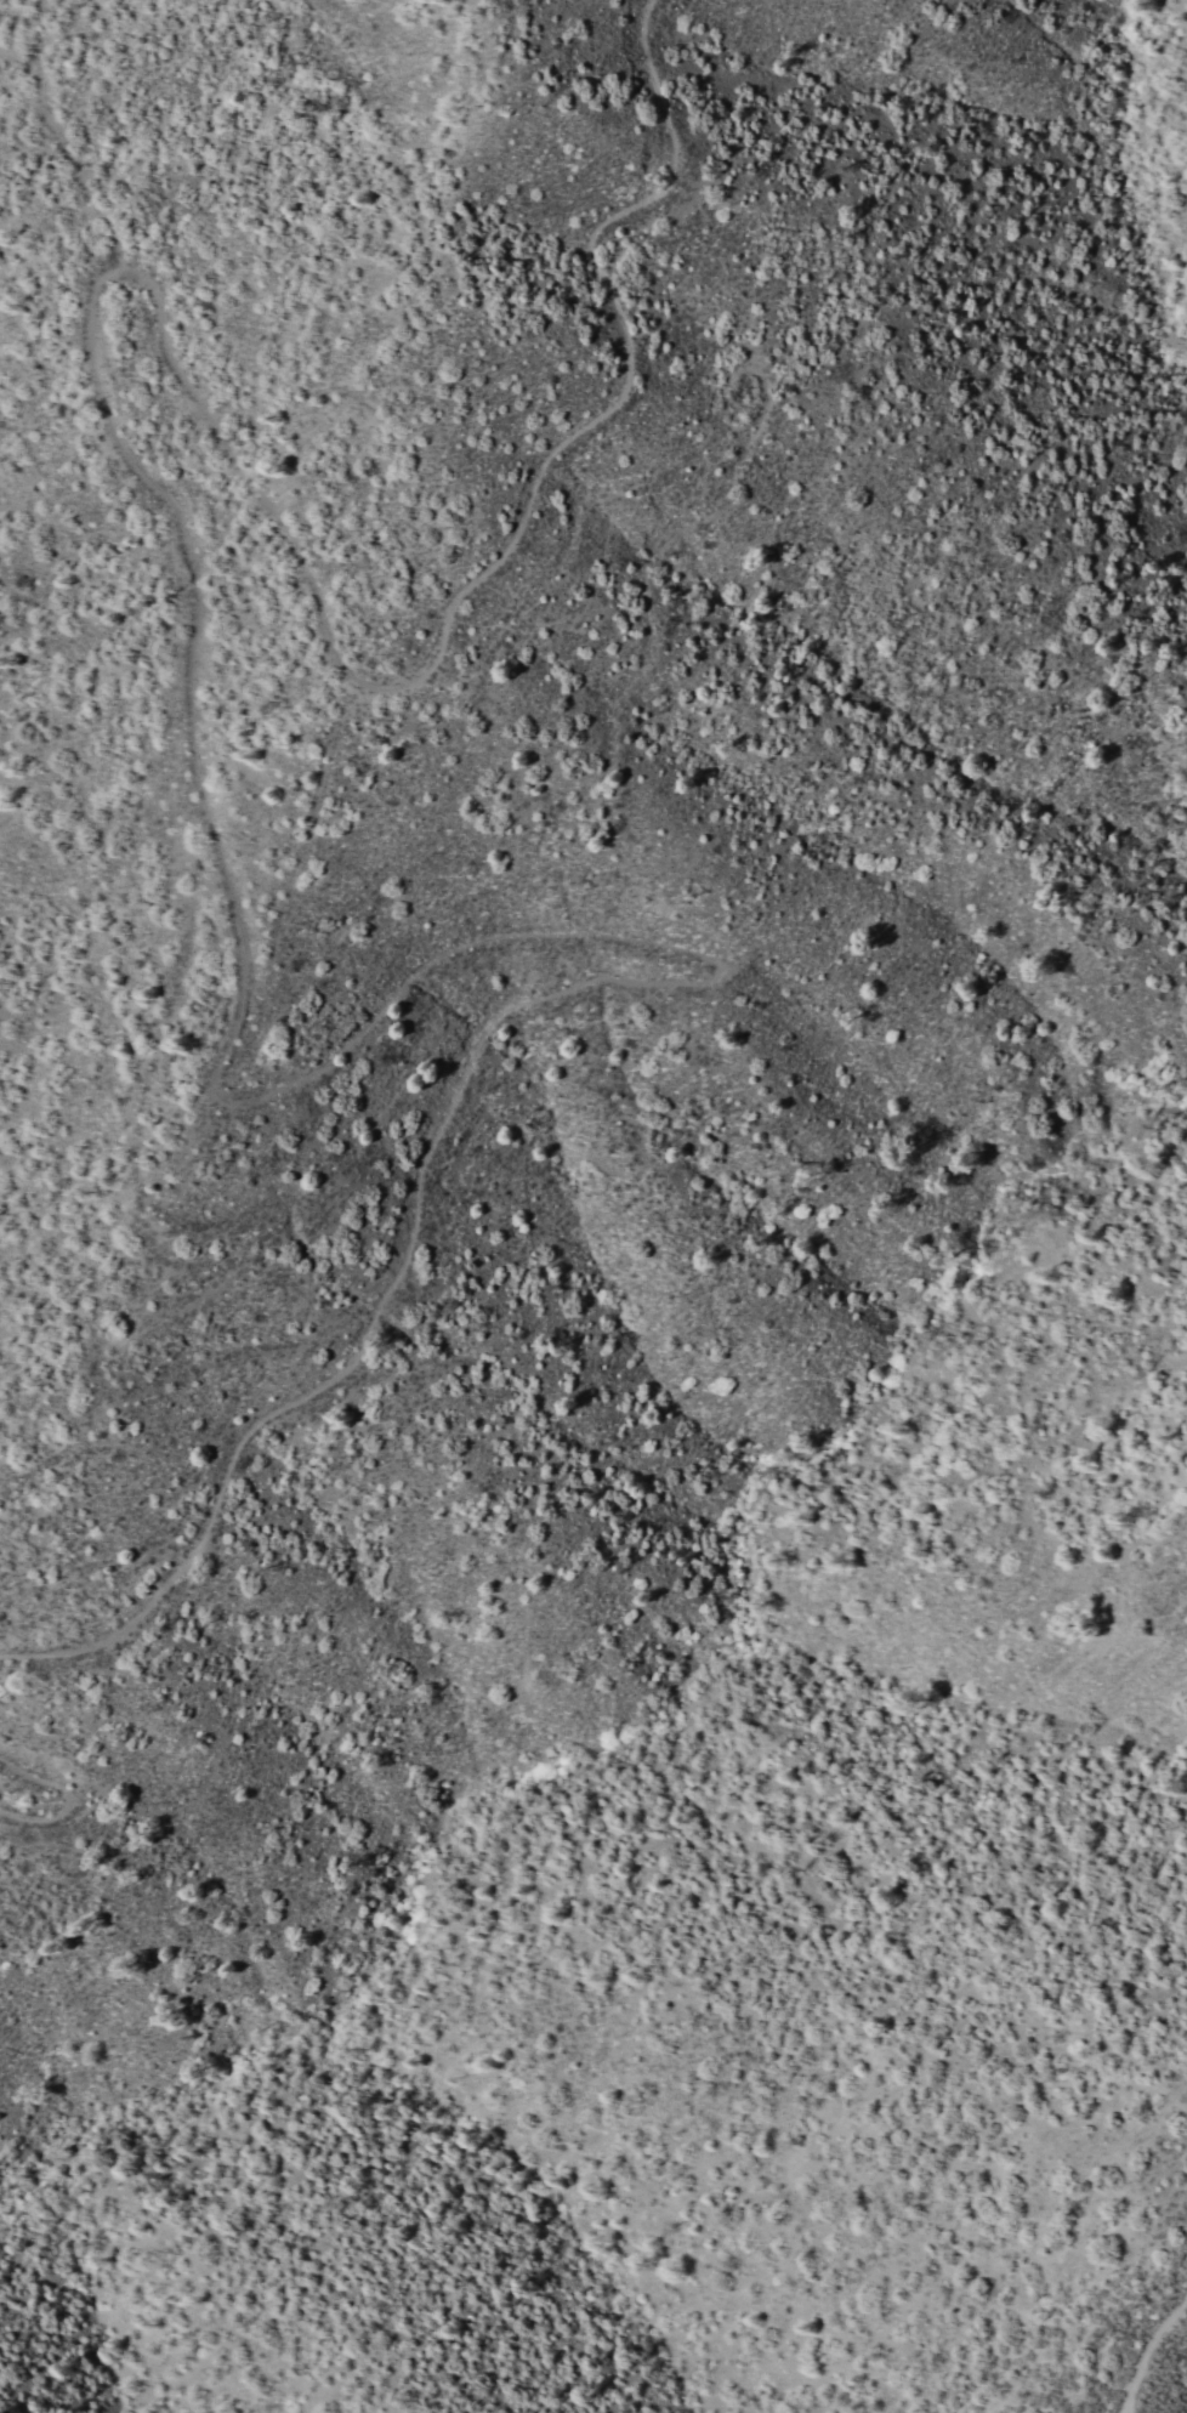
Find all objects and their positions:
road: (180, 563)
road: (55, 1796)

